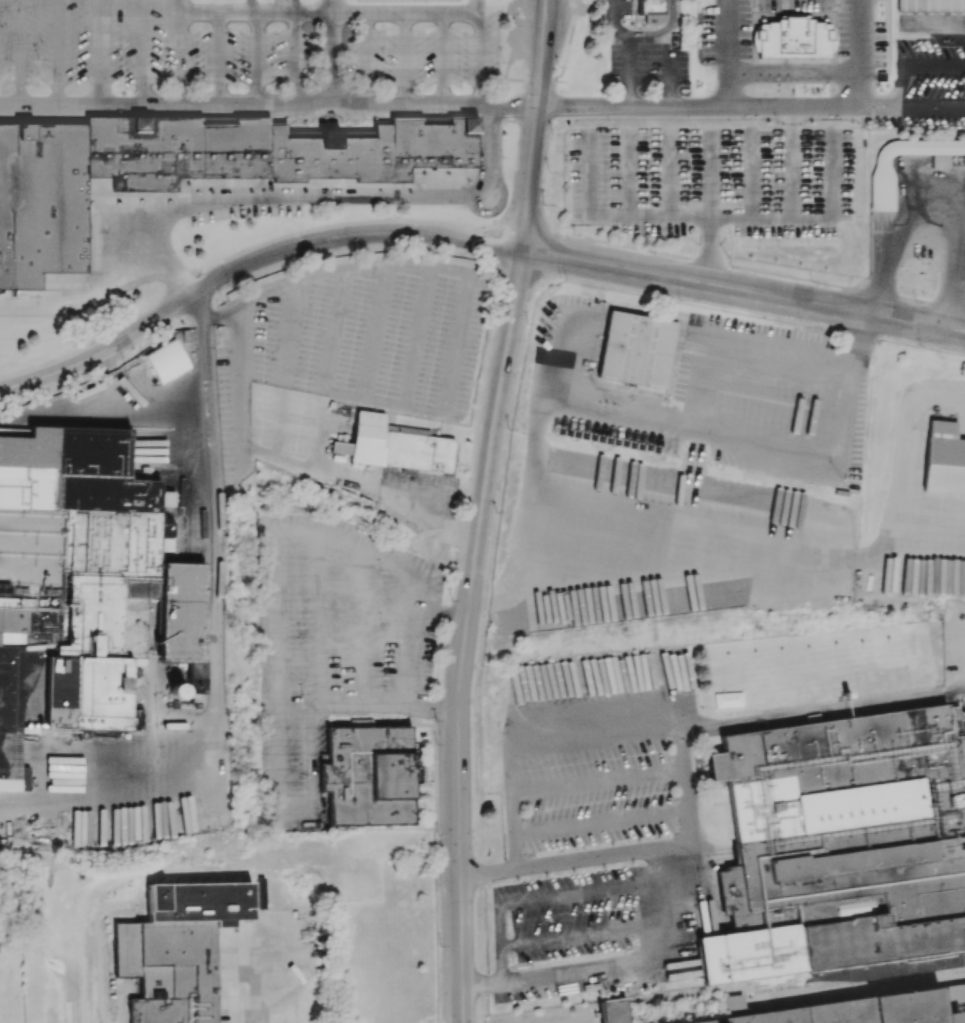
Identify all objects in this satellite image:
road: (469, 5)
building: (931, 5)
road: (309, 9)
road: (239, 10)
building: (652, 10)
road: (449, 11)
building: (792, 37)
road: (99, 51)
road: (669, 51)
road: (180, 52)
road: (330, 52)
road: (622, 53)
road: (295, 56)
road: (217, 57)
road: (255, 57)
road: (403, 58)
road: (442, 58)
road: (831, 102)
road: (440, 105)
road: (911, 107)
road: (536, 123)
building: (184, 168)
building: (881, 188)
road: (265, 196)
road: (928, 247)
road: (248, 263)
road: (613, 265)
road: (170, 266)
road: (834, 308)
building: (637, 349)
building: (267, 401)
road: (723, 432)
building: (397, 444)
building: (340, 447)
building: (944, 459)
road: (403, 506)
road: (689, 543)
building: (89, 585)
road: (209, 627)
road: (467, 633)
road: (408, 655)
building: (177, 690)
road: (821, 704)
road: (682, 765)
building: (368, 774)
road: (597, 778)
road: (600, 820)
building: (842, 848)
road: (598, 857)
road: (586, 889)
road: (579, 934)
road: (501, 944)
building: (178, 949)
road: (247, 989)
building: (853, 1009)
building: (614, 1010)

